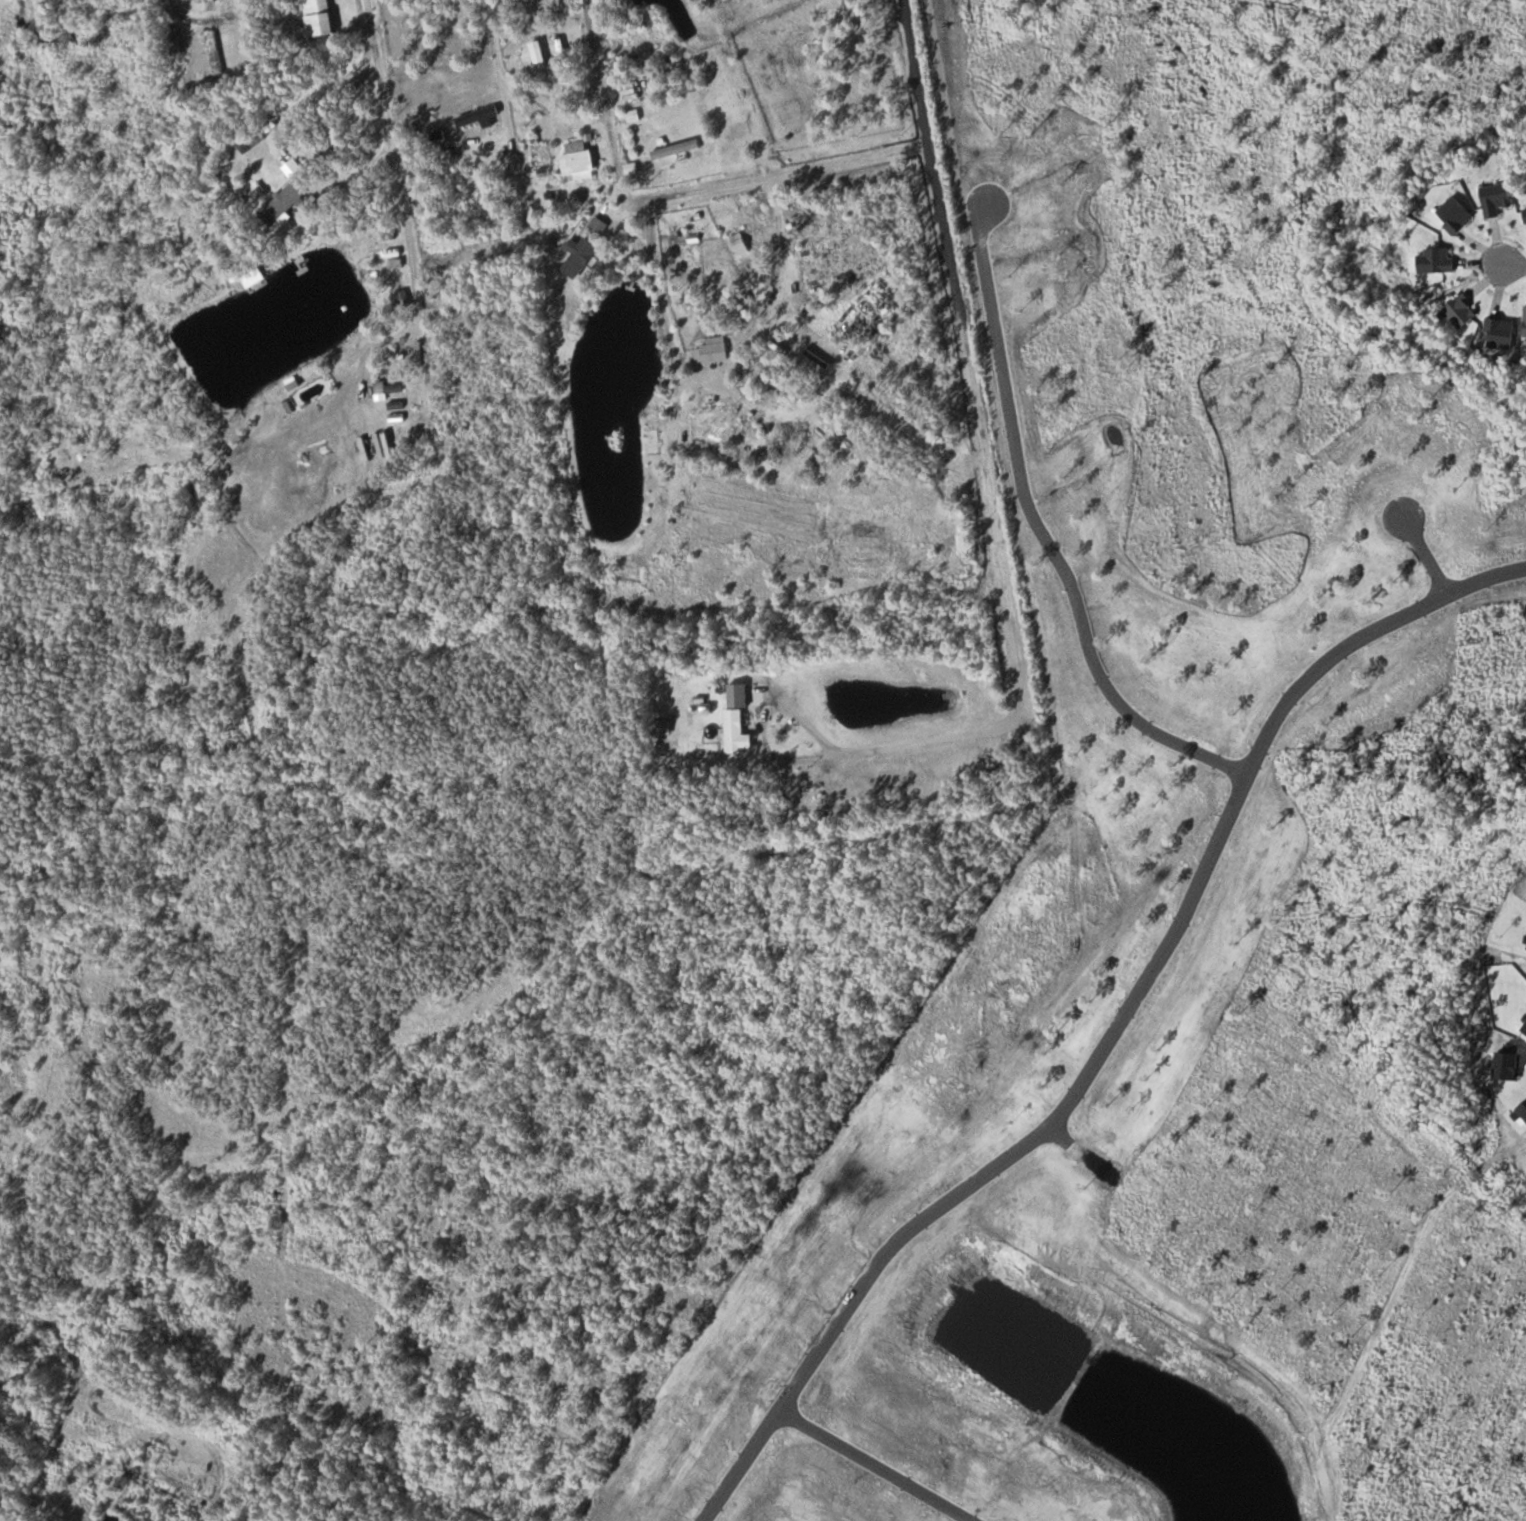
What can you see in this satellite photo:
building: (322, 17)
road: (192, 19)
building: (180, 41)
building: (543, 48)
building: (217, 53)
building: (632, 91)
building: (480, 116)
building: (679, 148)
building: (580, 159)
building: (285, 203)
building: (583, 257)
road: (1515, 264)
building: (404, 299)
building: (398, 410)
building: (740, 719)

